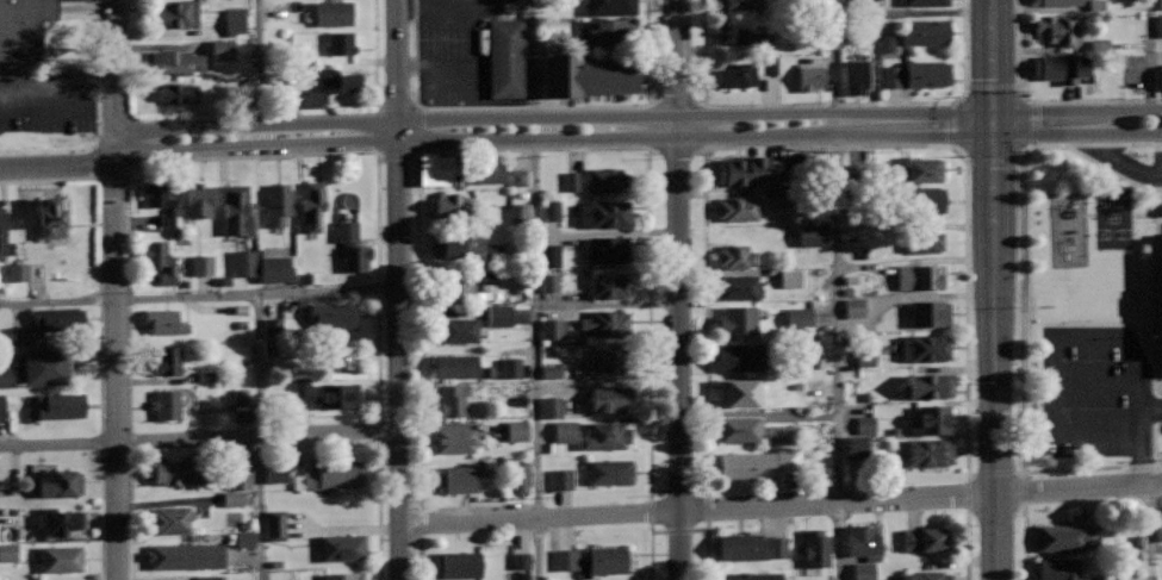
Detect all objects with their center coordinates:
building: (868, 1)
building: (926, 1)
building: (1057, 1)
building: (741, 4)
building: (1161, 5)
building: (613, 7)
parking lot: (75, 10)
road: (75, 10)
building: (334, 12)
building: (179, 13)
building: (234, 21)
building: (1158, 25)
building: (21, 27)
building: (1057, 30)
building: (926, 31)
building: (615, 32)
building: (742, 35)
road: (123, 37)
building: (341, 42)
building: (887, 43)
building: (222, 49)
road: (374, 54)
building: (507, 57)
building: (178, 61)
road: (1150, 61)
building: (769, 66)
building: (1061, 67)
road: (261, 68)
building: (586, 74)
building: (741, 74)
building: (918, 74)
building: (1161, 75)
building: (809, 77)
building: (855, 77)
building: (327, 83)
road: (56, 89)
building: (178, 92)
parking lot: (46, 100)
road: (1042, 100)
road: (828, 104)
road: (532, 107)
road: (577, 129)
road: (822, 145)
road: (526, 149)
road: (247, 156)
building: (439, 168)
building: (921, 168)
building: (744, 170)
road: (1112, 170)
building: (491, 171)
building: (517, 177)
building: (597, 180)
building: (782, 198)
building: (160, 199)
building: (198, 199)
building: (921, 200)
building: (279, 201)
building: (452, 204)
building: (313, 205)
building: (739, 207)
building: (237, 210)
building: (551, 210)
building: (517, 212)
building: (604, 214)
building: (52, 219)
building: (2, 233)
building: (810, 235)
building: (921, 241)
building: (352, 244)
building: (452, 244)
building: (608, 248)
building: (492, 251)
building: (548, 255)
building: (737, 255)
building: (161, 260)
road: (98, 262)
building: (243, 263)
building: (201, 264)
building: (273, 266)
building: (17, 272)
building: (920, 275)
building: (789, 279)
building: (465, 282)
building: (548, 282)
building: (608, 285)
building: (739, 287)
road: (112, 289)
road: (397, 289)
road: (535, 289)
road: (679, 289)
road: (838, 289)
road: (994, 289)
road: (199, 297)
building: (297, 307)
building: (853, 307)
road: (1019, 308)
building: (930, 312)
building: (329, 316)
building: (499, 316)
building: (799, 317)
building: (58, 318)
building: (164, 320)
building: (738, 320)
building: (607, 322)
building: (458, 329)
building: (551, 329)
building: (20, 336)
building: (925, 347)
building: (335, 355)
building: (739, 356)
building: (809, 357)
building: (865, 357)
building: (167, 358)
building: (610, 360)
building: (46, 366)
building: (455, 366)
building: (510, 368)
building: (551, 372)
building: (205, 376)
building: (5, 378)
building: (927, 385)
building: (300, 388)
building: (738, 392)
building: (338, 394)
building: (609, 397)
building: (450, 399)
building: (61, 404)
building: (167, 404)
building: (1, 406)
building: (240, 406)
building: (551, 407)
building: (930, 418)
building: (864, 424)
building: (740, 428)
building: (516, 430)
building: (564, 431)
building: (605, 435)
building: (779, 435)
road: (261, 437)
road: (199, 438)
building: (455, 439)
building: (928, 451)
building: (758, 462)
building: (176, 469)
building: (241, 469)
building: (610, 470)
building: (278, 472)
building: (329, 474)
building: (518, 475)
building: (455, 479)
building: (560, 479)
building: (60, 482)
building: (231, 499)
road: (779, 505)
road: (378, 509)
road: (99, 511)
road: (129, 511)
building: (61, 519)
building: (168, 519)
building: (274, 525)
building: (1158, 530)
road: (1150, 531)
building: (0, 532)
building: (1068, 537)
building: (243, 538)
building: (924, 538)
building: (863, 541)
road: (1023, 544)
building: (752, 545)
road: (964, 545)
building: (342, 547)
building: (816, 548)
road: (648, 551)
building: (7, 553)
road: (707, 553)
building: (187, 555)
road: (418, 555)
building: (62, 559)
building: (520, 560)
building: (565, 560)
building: (608, 560)
building: (456, 565)
building: (1060, 568)
building: (343, 575)
building: (739, 575)
building: (925, 575)
building: (1107, 576)
building: (205, 578)
building: (566, 579)

